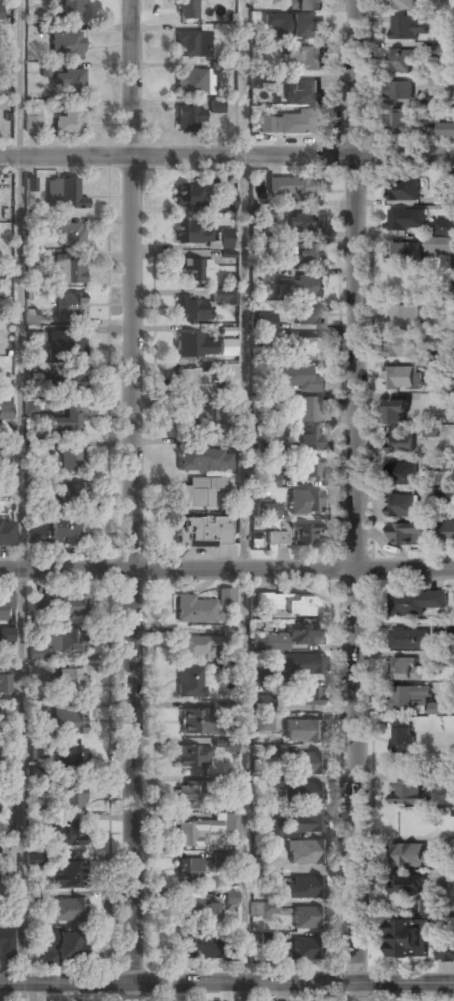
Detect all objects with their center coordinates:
building: (403, 4)
building: (304, 6)
building: (73, 10)
building: (186, 10)
building: (1, 12)
building: (293, 25)
building: (408, 25)
building: (193, 45)
building: (67, 46)
building: (441, 51)
building: (302, 59)
building: (400, 59)
building: (258, 79)
building: (68, 81)
building: (193, 82)
building: (399, 90)
building: (302, 93)
building: (216, 106)
building: (189, 119)
building: (32, 121)
building: (69, 122)
building: (399, 122)
building: (286, 124)
building: (446, 130)
road: (226, 165)
building: (29, 184)
building: (294, 189)
building: (404, 190)
building: (63, 195)
building: (191, 197)
building: (229, 201)
building: (262, 215)
building: (404, 220)
building: (305, 224)
building: (444, 227)
building: (193, 232)
building: (69, 233)
building: (227, 239)
building: (440, 246)
building: (405, 253)
building: (303, 255)
building: (68, 269)
building: (194, 271)
building: (1, 275)
building: (267, 275)
building: (299, 288)
building: (224, 296)
building: (431, 305)
building: (69, 306)
building: (190, 310)
building: (309, 316)
building: (404, 316)
building: (32, 317)
building: (265, 322)
building: (269, 341)
building: (66, 343)
building: (193, 346)
building: (227, 348)
building: (398, 348)
building: (308, 350)
building: (228, 371)
building: (400, 378)
building: (299, 379)
building: (65, 381)
building: (195, 382)
building: (31, 408)
building: (307, 409)
building: (6, 412)
building: (396, 412)
building: (67, 420)
building: (198, 421)
building: (431, 430)
building: (309, 438)
building: (401, 443)
building: (267, 447)
building: (72, 458)
building: (204, 460)
building: (441, 462)
building: (309, 468)
building: (403, 474)
building: (272, 480)
road: (19, 491)
building: (199, 492)
building: (73, 494)
building: (445, 495)
road: (134, 500)
road: (244, 500)
road: (357, 500)
building: (306, 502)
building: (401, 506)
building: (266, 510)
building: (6, 532)
building: (58, 532)
building: (204, 532)
building: (417, 532)
building: (303, 535)
building: (277, 538)
road: (226, 571)
building: (5, 603)
building: (409, 604)
building: (70, 605)
building: (289, 606)
building: (194, 610)
building: (443, 626)
building: (6, 634)
building: (291, 637)
building: (408, 640)
building: (57, 644)
building: (195, 648)
building: (304, 665)
building: (404, 669)
building: (266, 676)
building: (70, 681)
building: (189, 683)
building: (4, 684)
building: (309, 696)
building: (408, 697)
building: (436, 708)
building: (194, 721)
building: (68, 722)
building: (264, 724)
building: (303, 731)
building: (402, 737)
building: (231, 746)
building: (38, 751)
building: (272, 751)
building: (193, 756)
building: (71, 758)
building: (307, 764)
building: (275, 781)
building: (445, 781)
building: (304, 793)
building: (406, 793)
building: (190, 797)
building: (72, 798)
building: (307, 821)
building: (230, 828)
building: (196, 832)
building: (67, 834)
building: (450, 846)
building: (304, 853)
building: (411, 856)
building: (220, 860)
building: (68, 871)
building: (190, 871)
building: (272, 878)
building: (407, 884)
building: (304, 889)
building: (231, 898)
building: (429, 905)
building: (200, 908)
building: (269, 908)
building: (66, 910)
building: (308, 919)
building: (408, 937)
building: (267, 938)
building: (6, 943)
building: (199, 945)
building: (64, 948)
building: (304, 950)
building: (445, 952)
road: (227, 983)
road: (20, 992)

